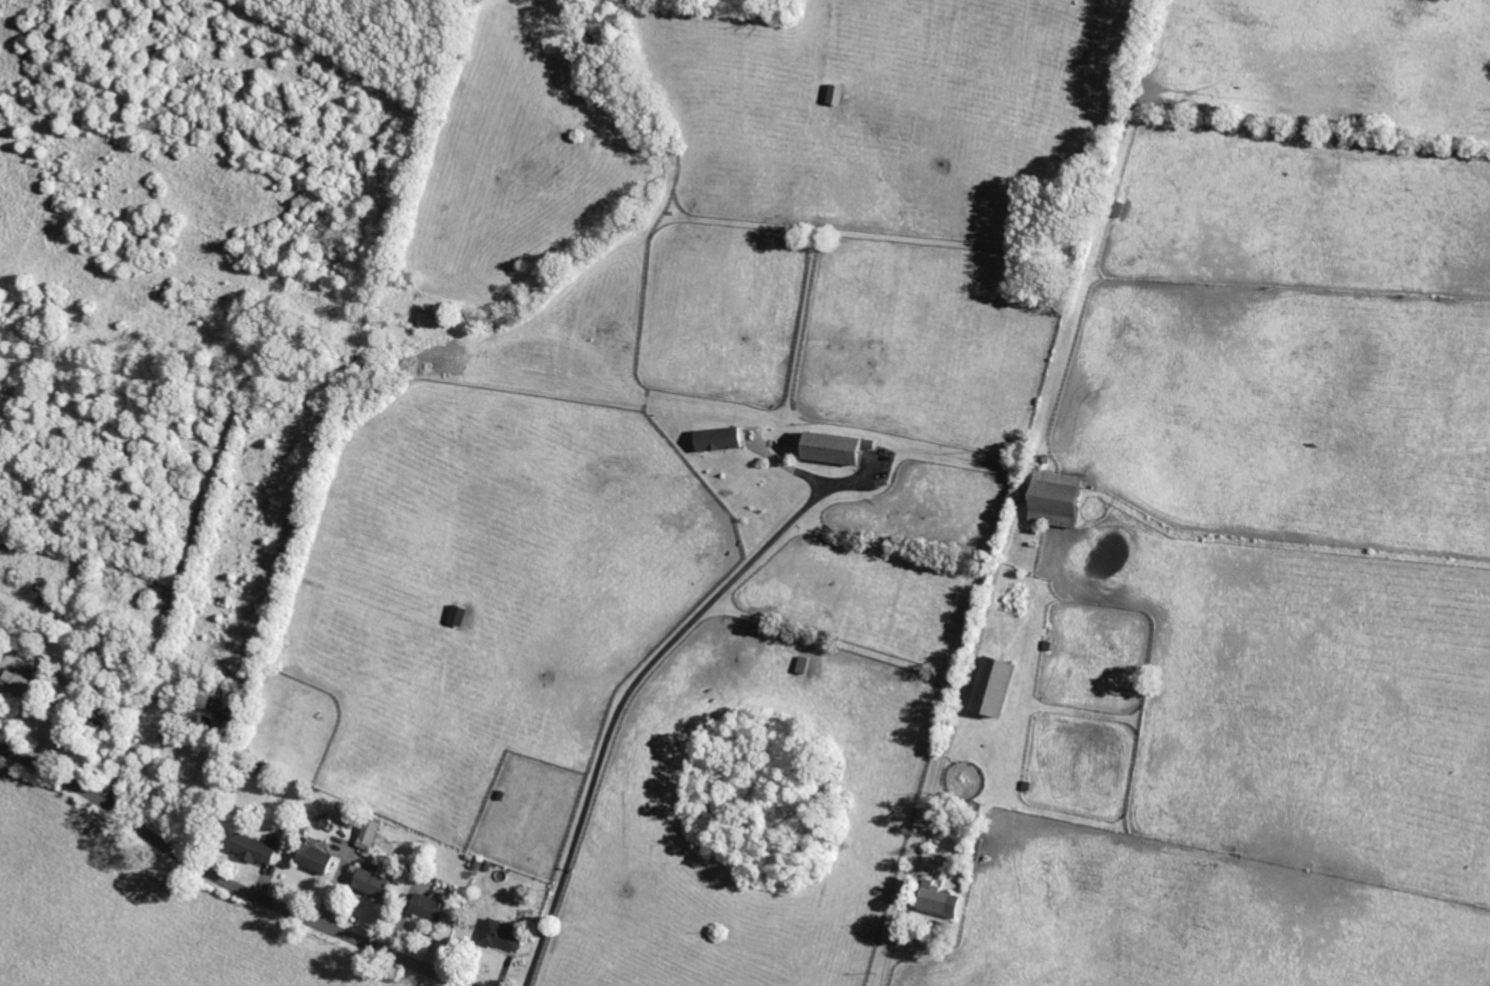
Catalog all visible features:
building: (833, 95)
building: (714, 438)
building: (830, 446)
building: (1050, 497)
building: (14, 682)
building: (987, 686)
road: (629, 690)
road: (34, 718)
road: (935, 787)
building: (367, 833)
building: (251, 848)
building: (311, 857)
road: (227, 881)
building: (369, 882)
building: (935, 898)
building: (427, 906)
building: (500, 935)

